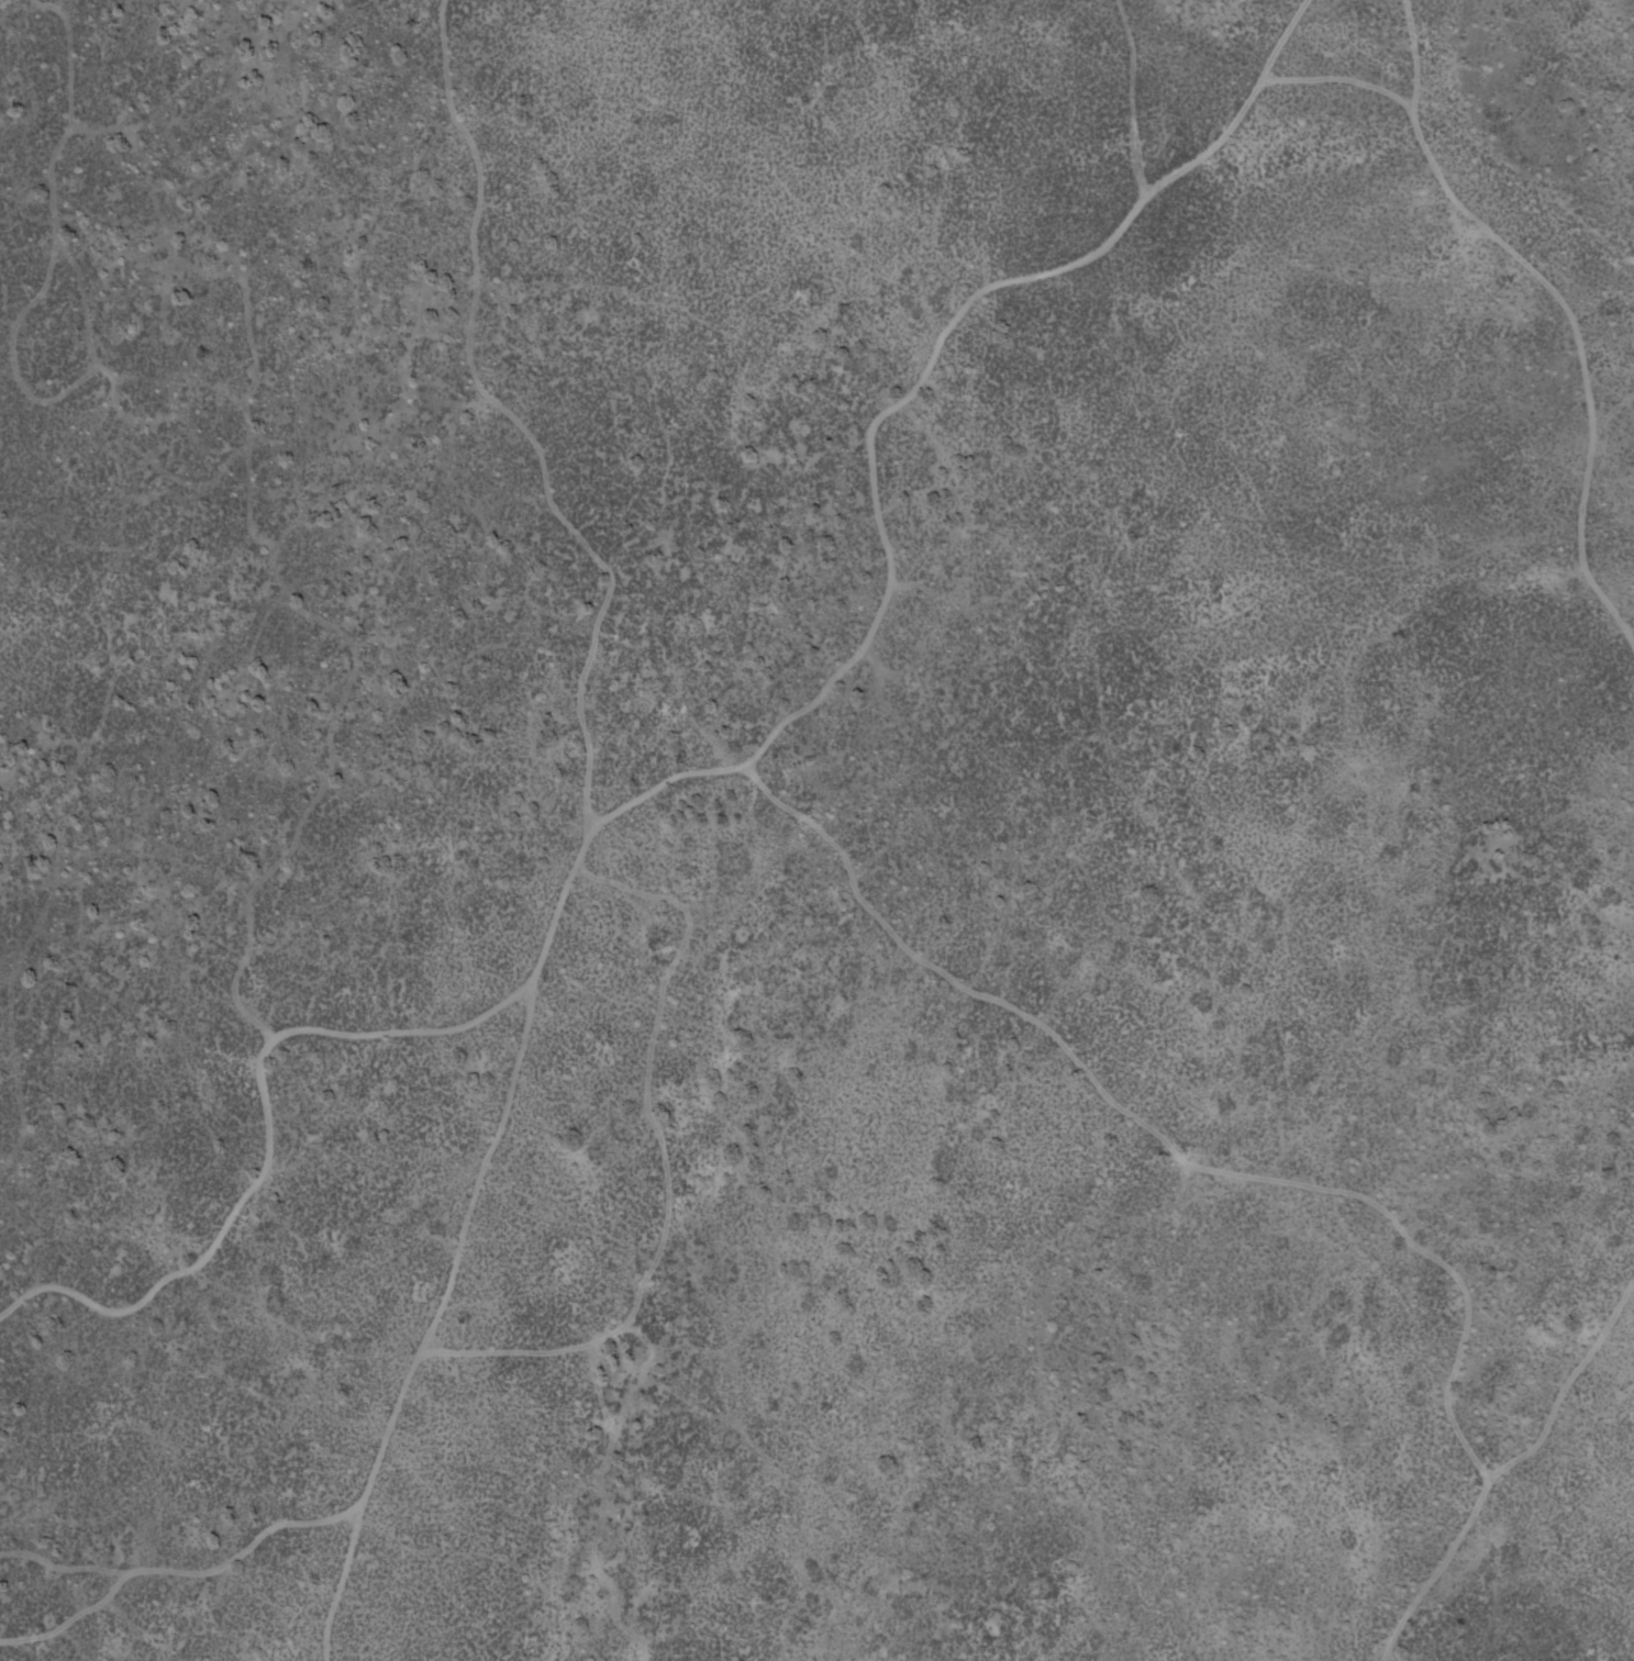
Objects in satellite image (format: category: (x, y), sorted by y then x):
road: (1569, 258)
road: (742, 729)
road: (426, 1317)
road: (1521, 1458)

